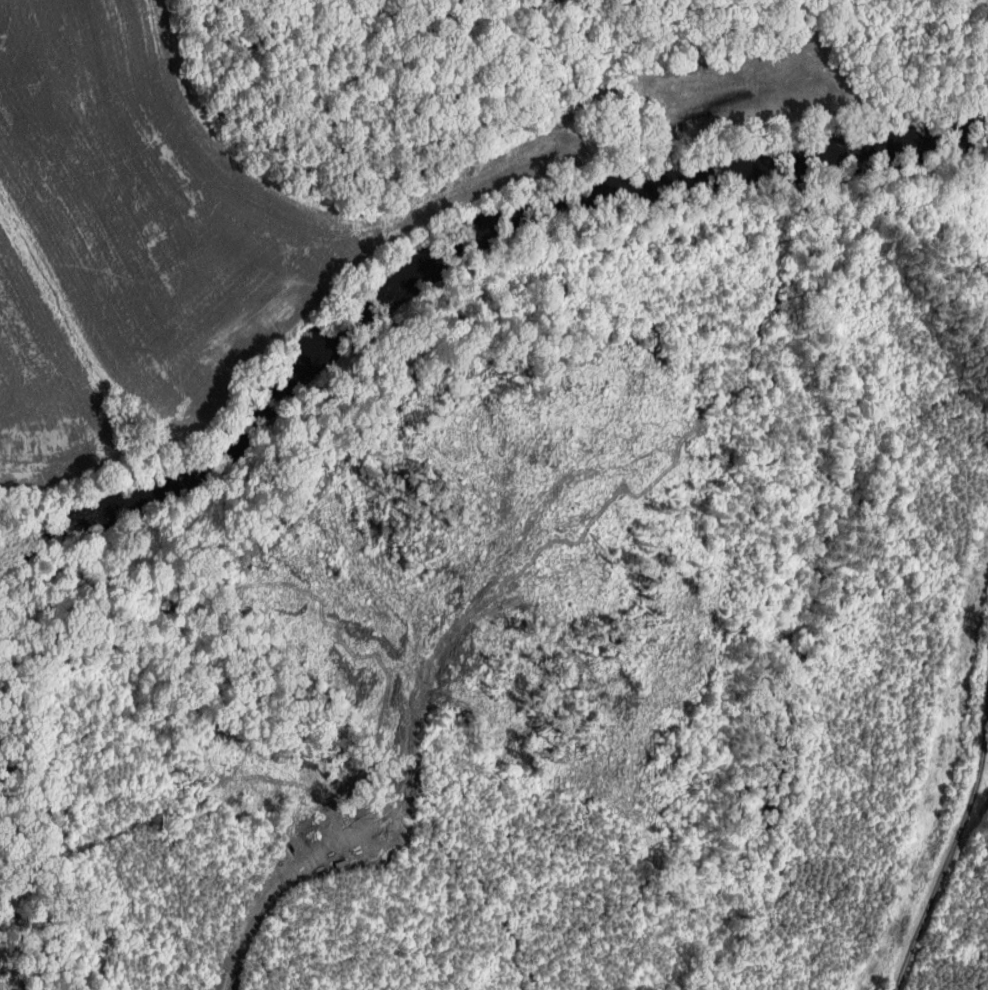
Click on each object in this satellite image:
road: (949, 856)

